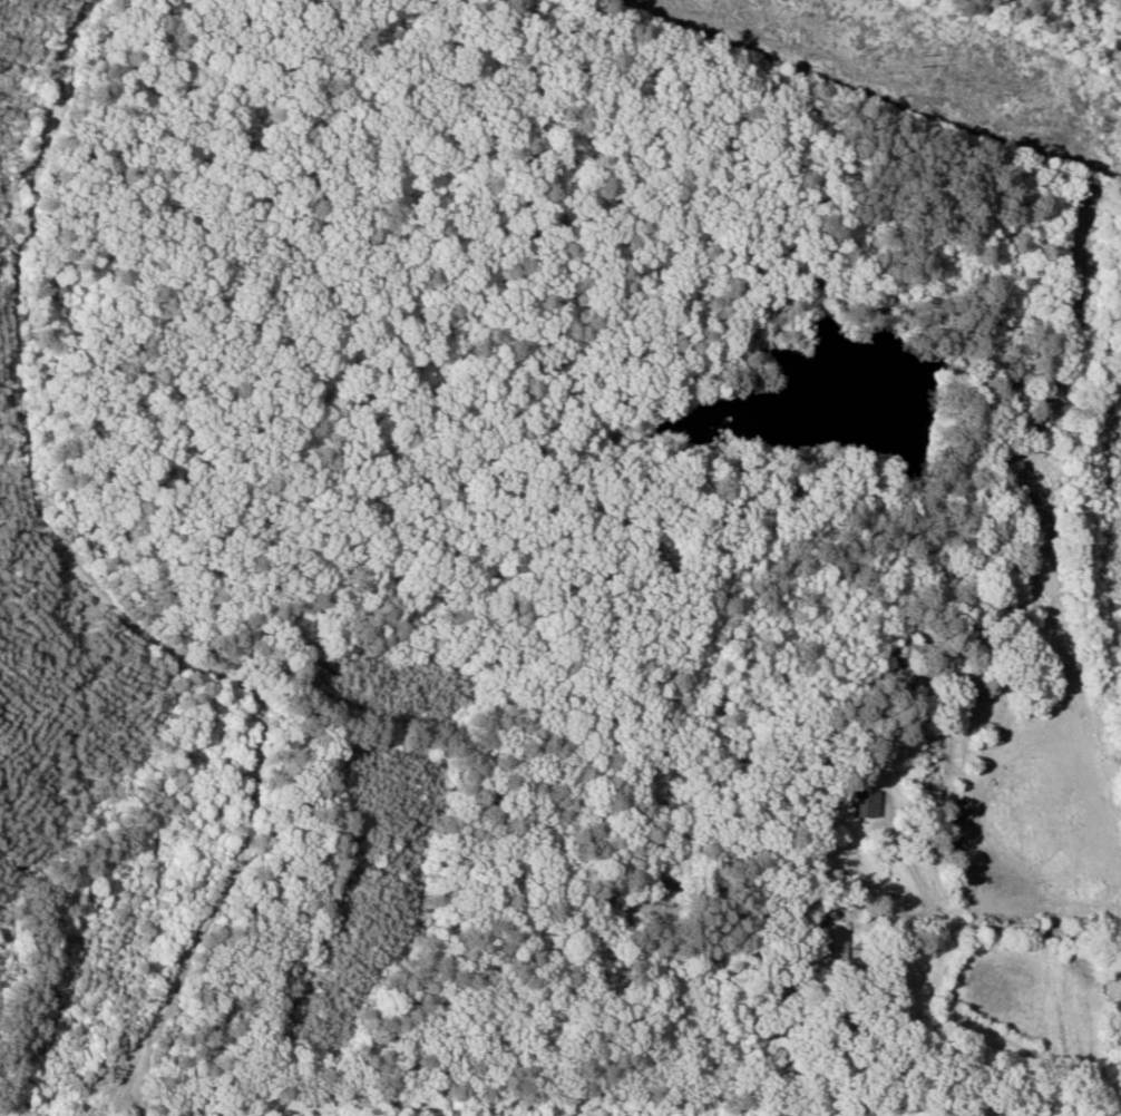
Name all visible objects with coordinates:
building: (907, 648)
building: (869, 802)
building: (666, 882)
road: (969, 929)
building: (832, 938)
road: (439, 1089)
road: (238, 1093)
road: (861, 1107)

